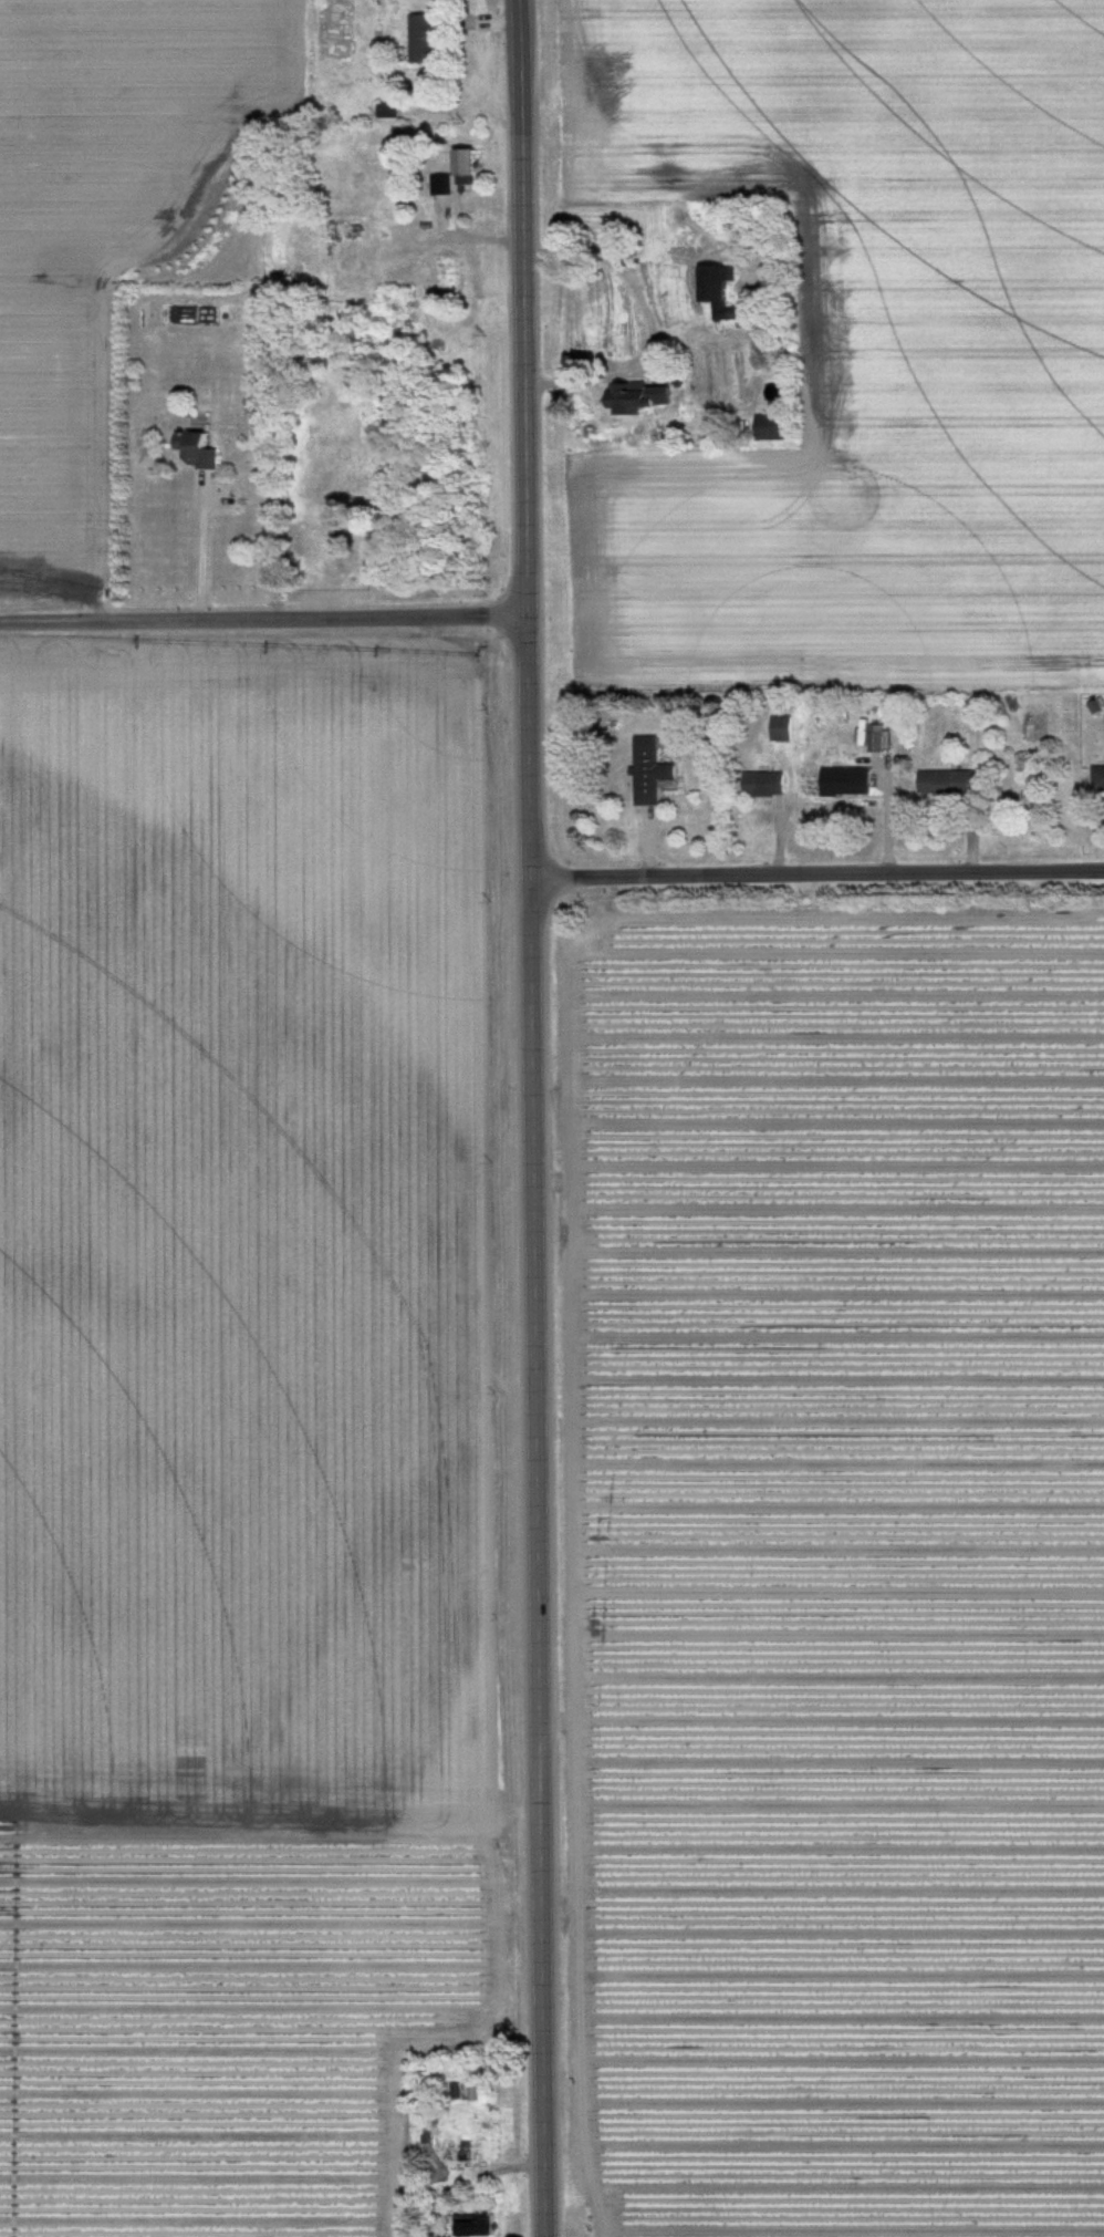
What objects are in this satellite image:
building: (425, 39)
building: (468, 167)
building: (441, 185)
crop: (106, 229)
building: (451, 277)
building: (725, 294)
crop: (858, 341)
building: (642, 397)
building: (774, 428)
building: (200, 450)
road: (198, 549)
road: (261, 619)
building: (781, 729)
building: (876, 737)
building: (650, 773)
building: (860, 780)
building: (1098, 781)
building: (950, 784)
building: (767, 785)
road: (816, 874)
road: (531, 1118)
crop: (237, 1436)
building: (476, 2225)

